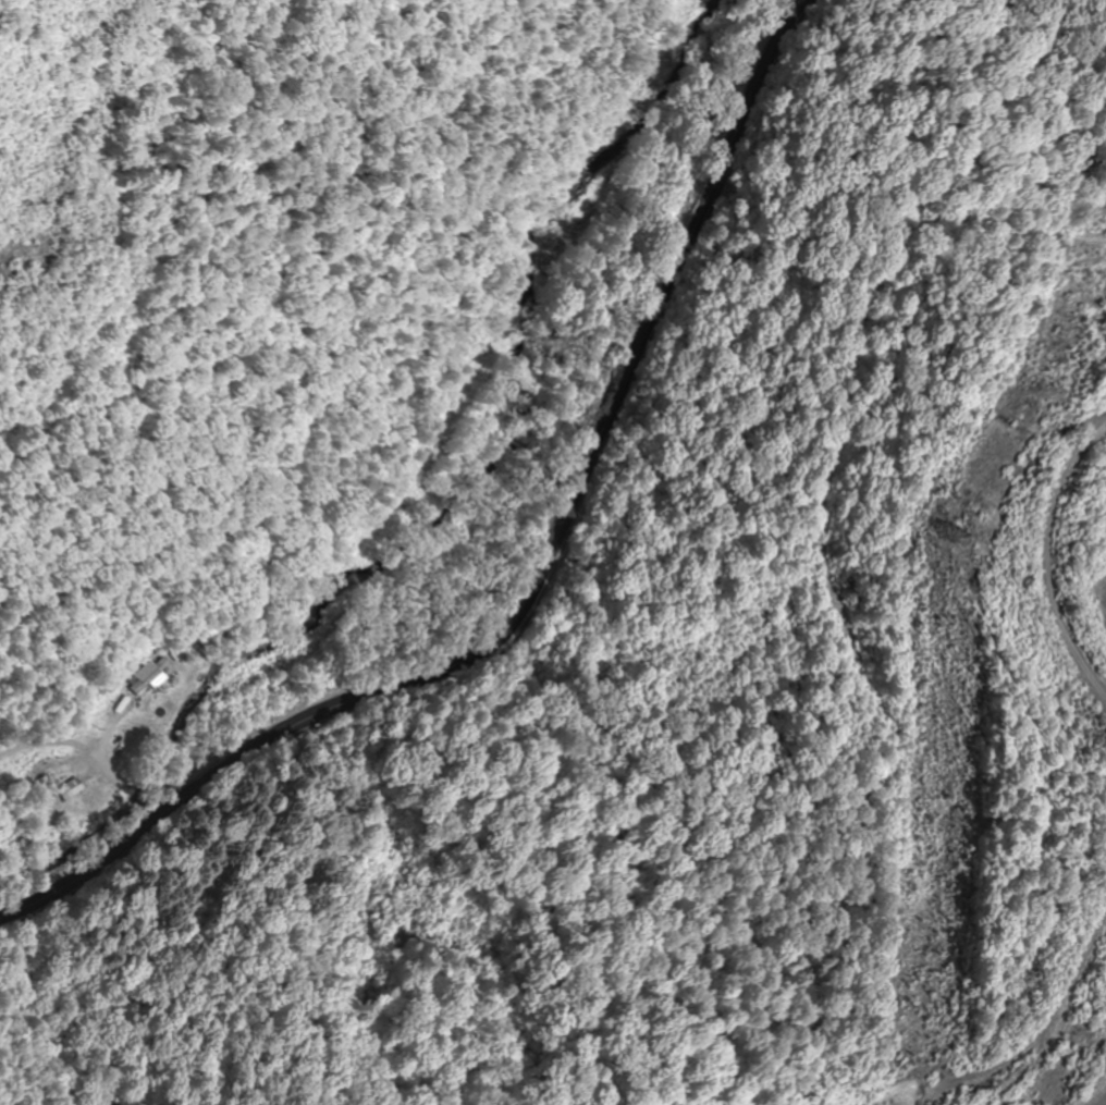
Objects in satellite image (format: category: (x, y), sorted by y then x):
power tower: (937, 532)
road: (533, 579)
building: (180, 649)
building: (147, 677)
building: (44, 779)

